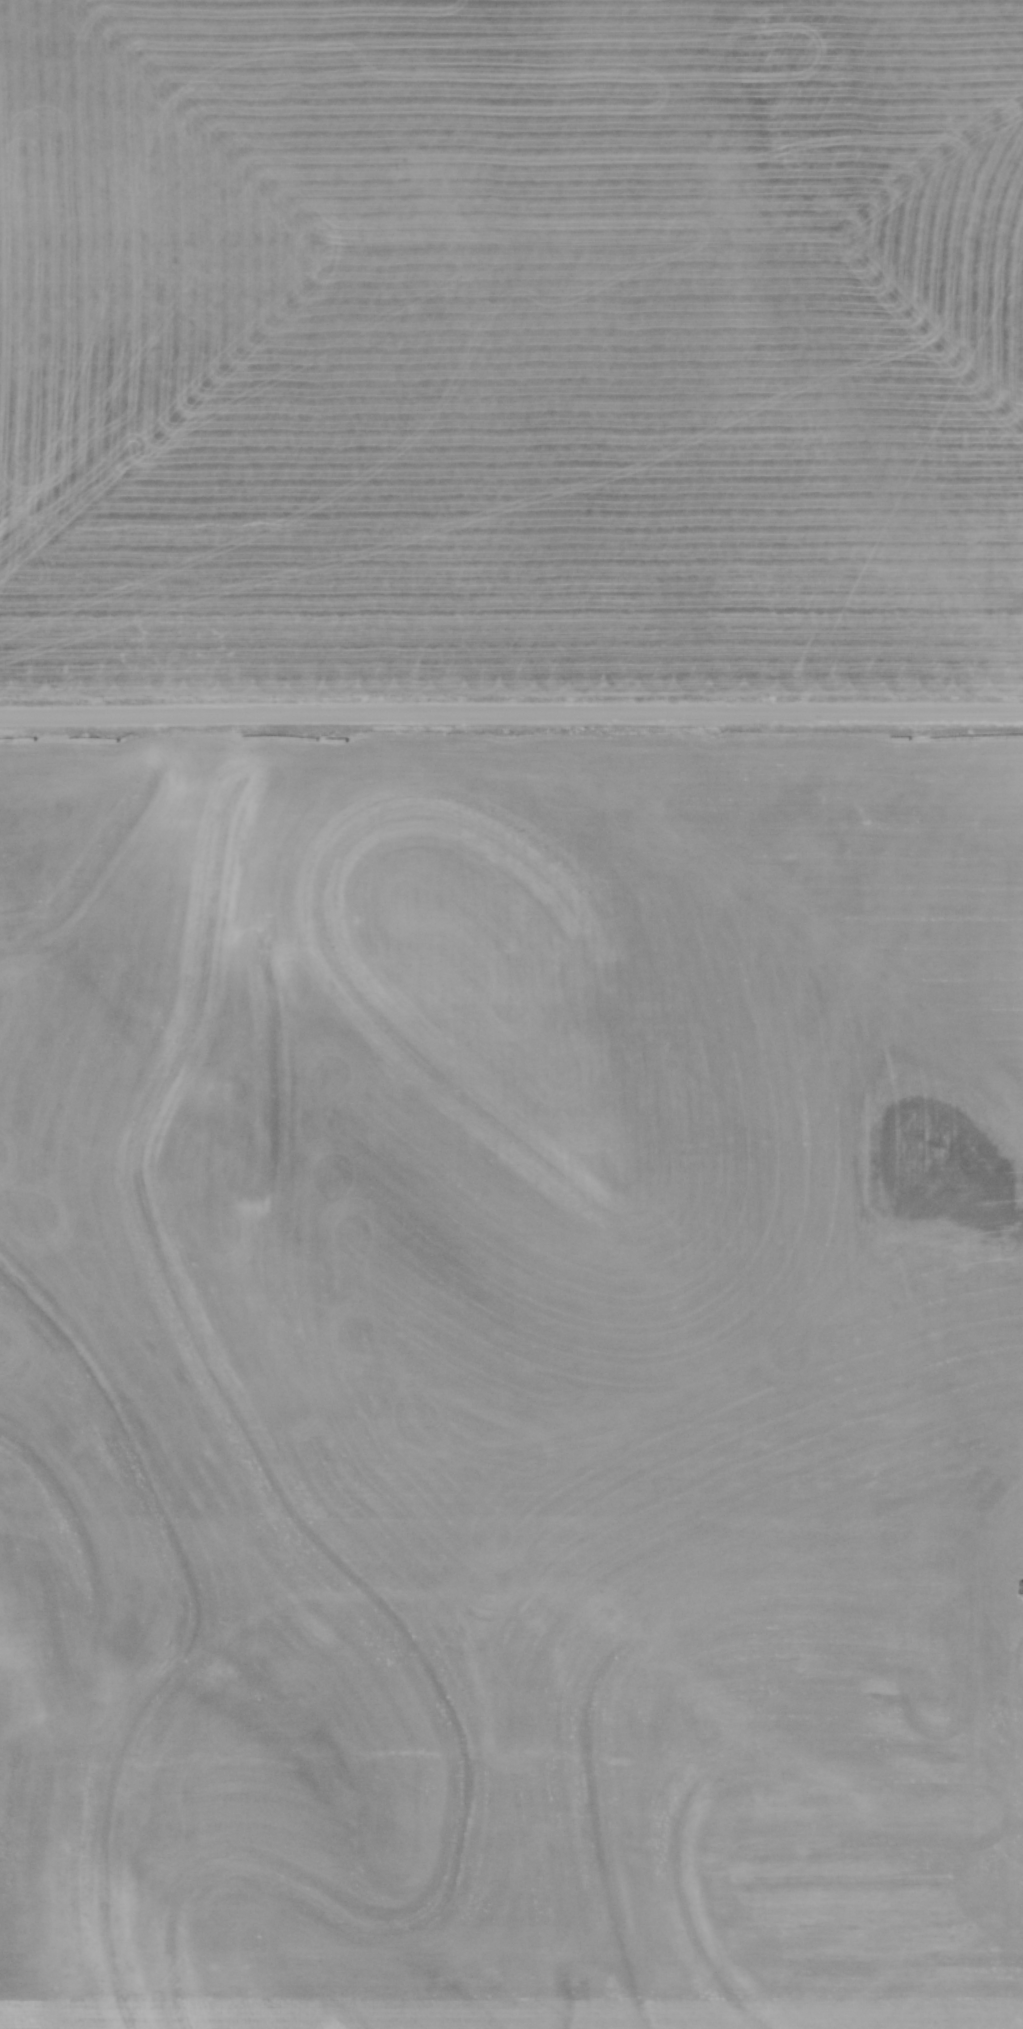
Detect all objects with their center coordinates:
road: (511, 711)

